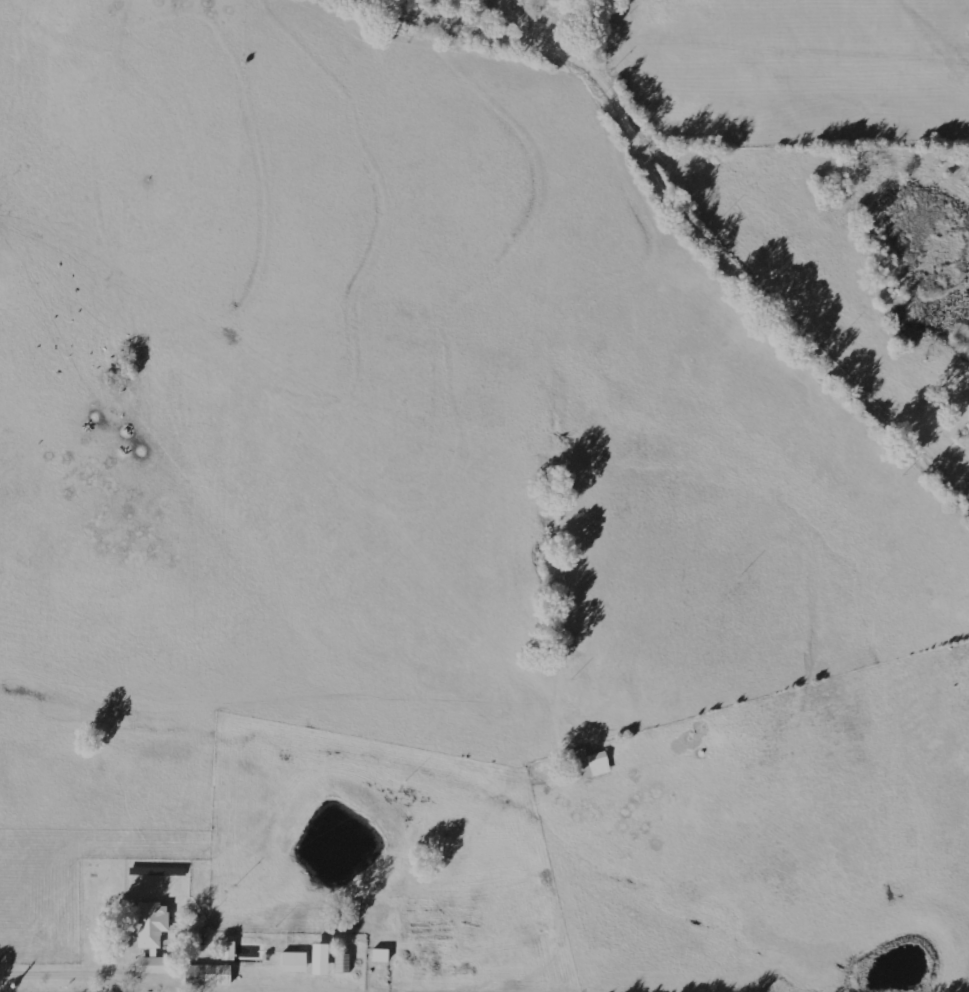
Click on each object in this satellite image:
road: (679, 207)
building: (590, 764)
building: (152, 925)
building: (228, 951)
building: (380, 956)
building: (320, 960)
building: (294, 962)
building: (151, 965)
building: (208, 975)
road: (129, 977)

